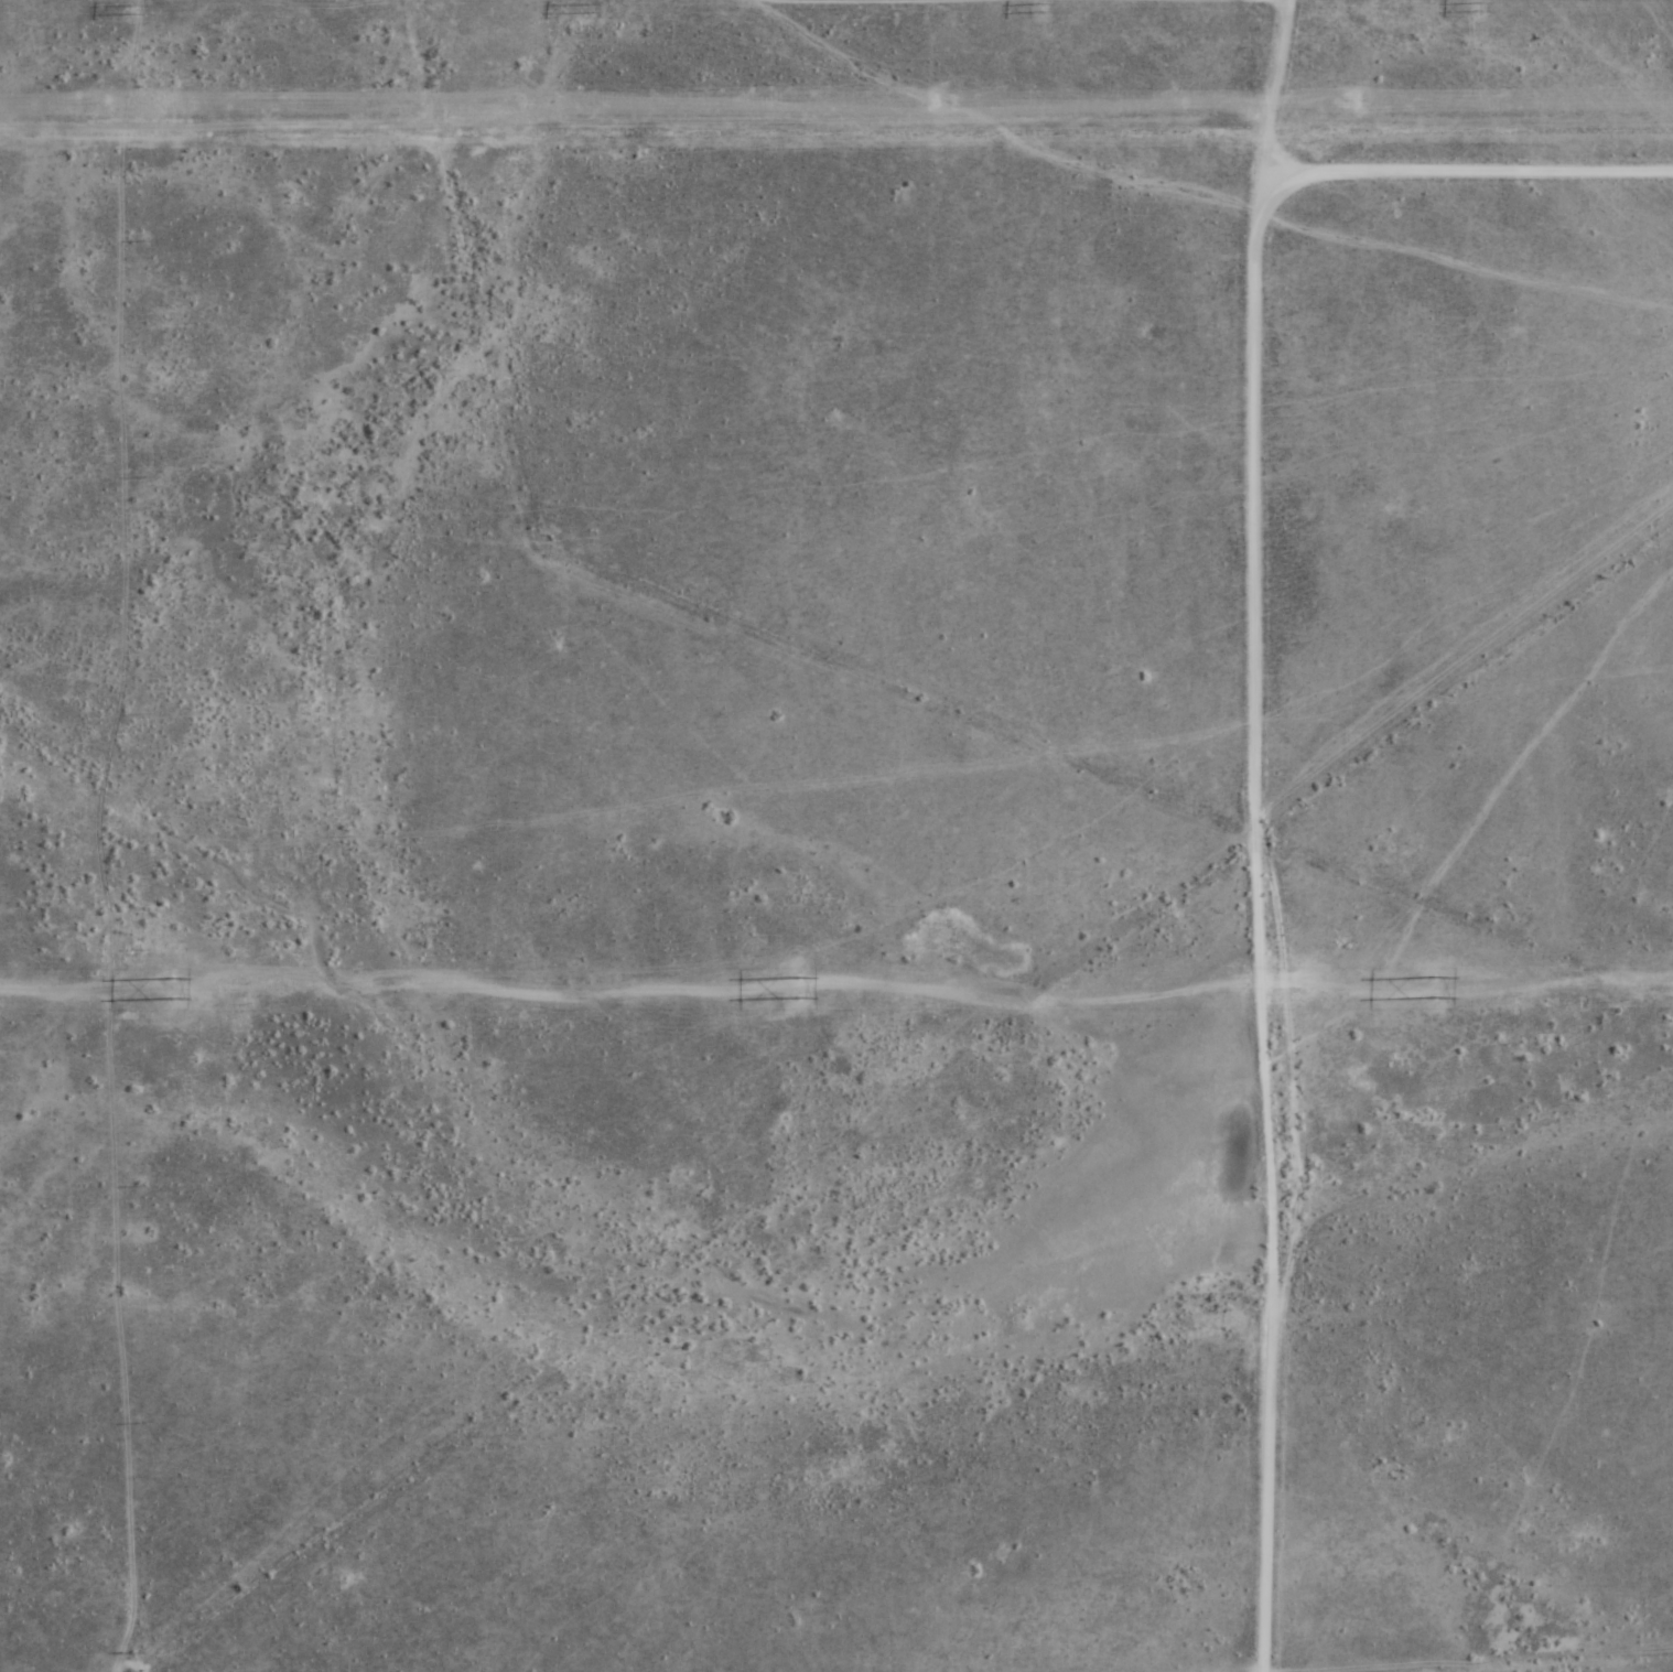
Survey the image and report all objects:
power tower: (1476, 7)
power tower: (1040, 8)
power tower: (584, 10)
power tower: (139, 12)
power tower: (1360, 104)
power tower: (115, 106)
power tower: (529, 106)
power tower: (946, 106)
road: (1245, 834)
power tower: (165, 982)
power tower: (791, 986)
power tower: (1426, 986)

